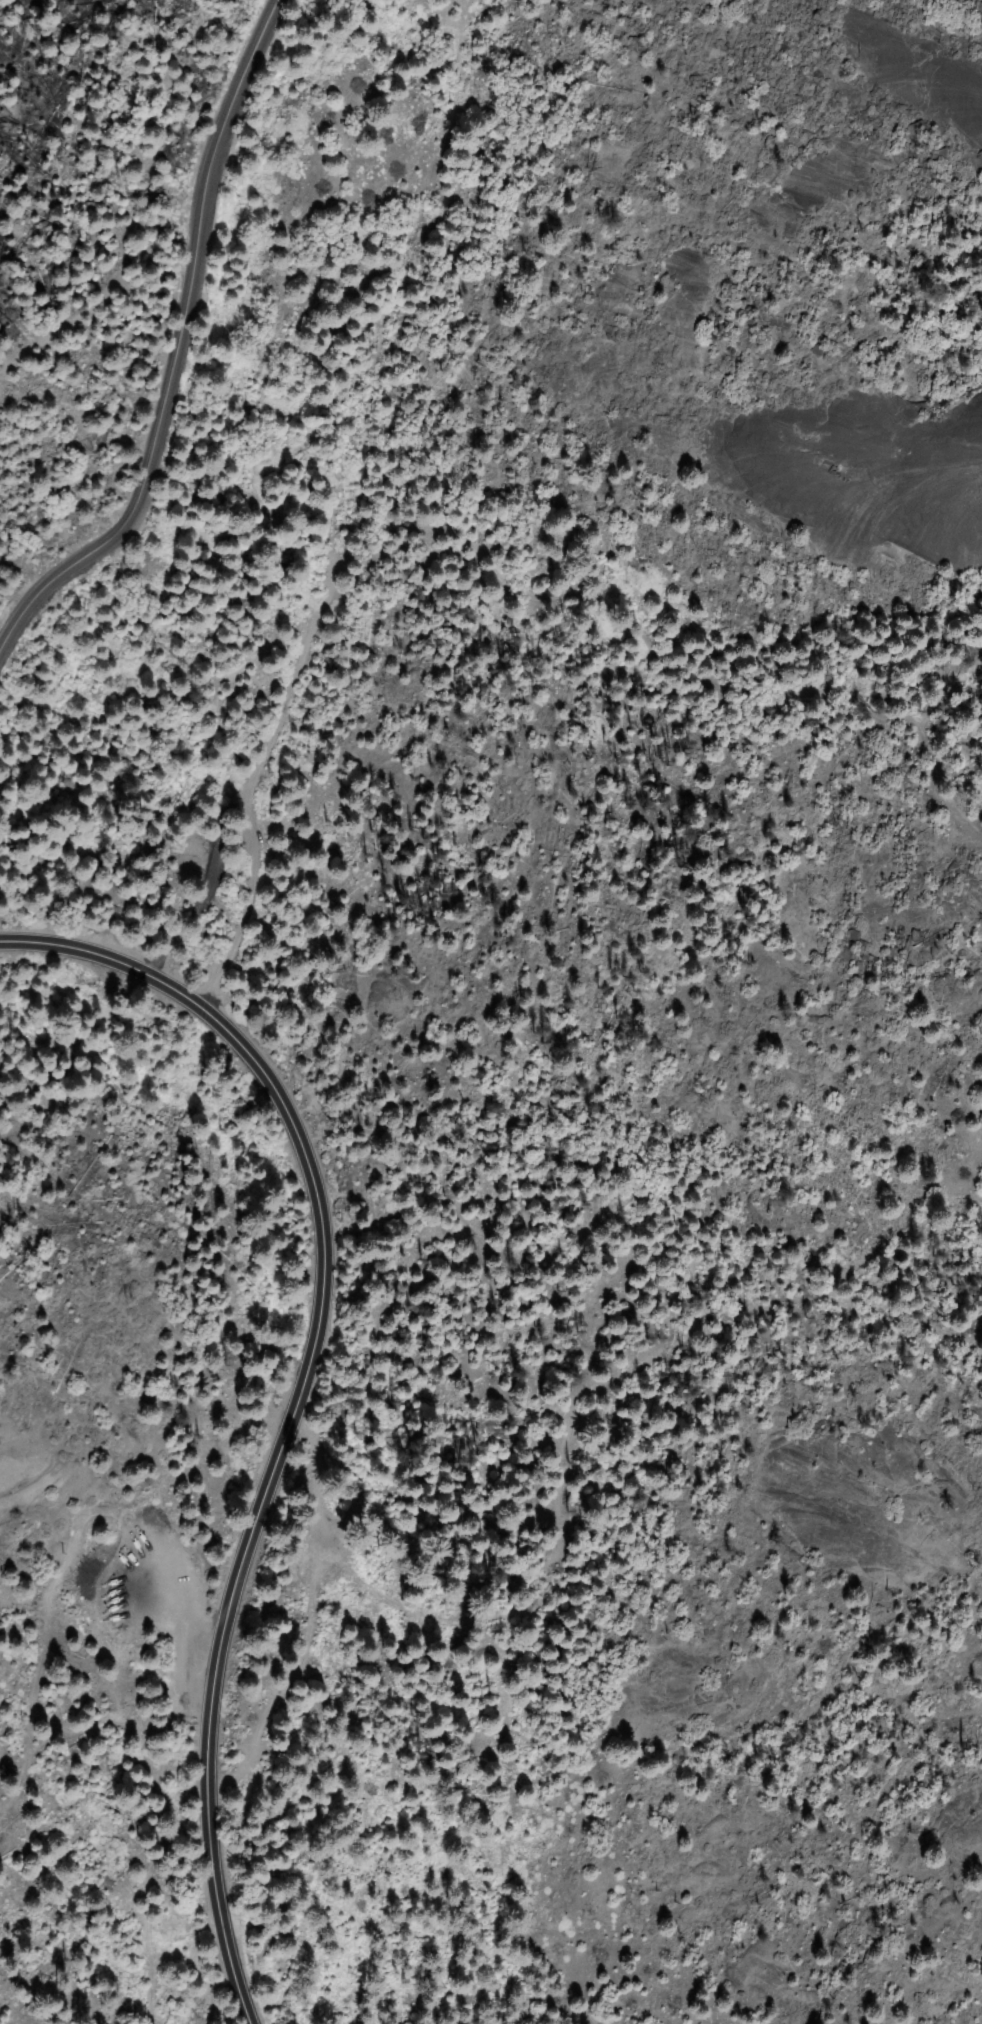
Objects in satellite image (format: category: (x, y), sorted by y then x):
road: (179, 350)
road: (297, 1396)

